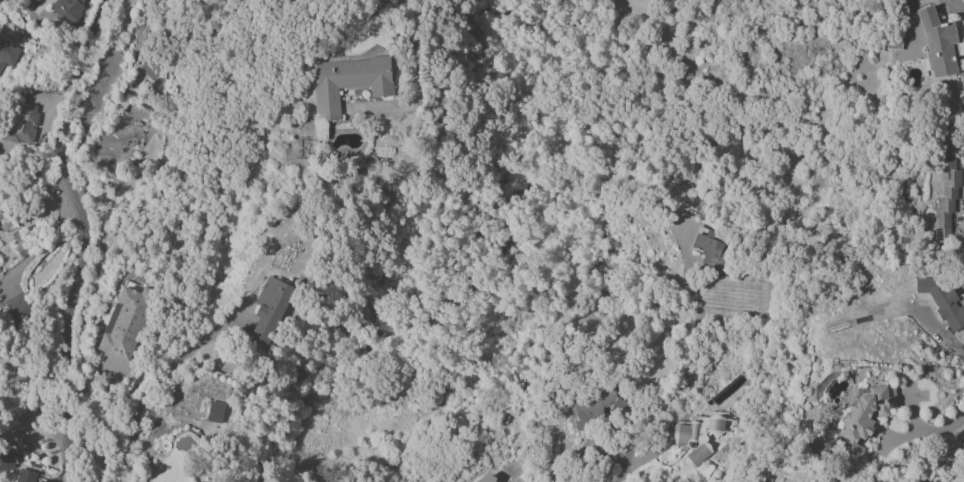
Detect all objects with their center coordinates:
road: (905, 2)
building: (68, 10)
building: (937, 43)
building: (7, 54)
building: (151, 72)
building: (348, 82)
building: (962, 87)
building: (21, 125)
building: (946, 187)
road: (76, 233)
building: (22, 235)
road: (36, 246)
building: (711, 252)
building: (941, 300)
building: (268, 312)
building: (122, 324)
road: (941, 336)
building: (592, 408)
building: (214, 411)
building: (864, 416)
road: (941, 430)
building: (702, 436)
building: (5, 461)
building: (25, 476)
building: (817, 480)

